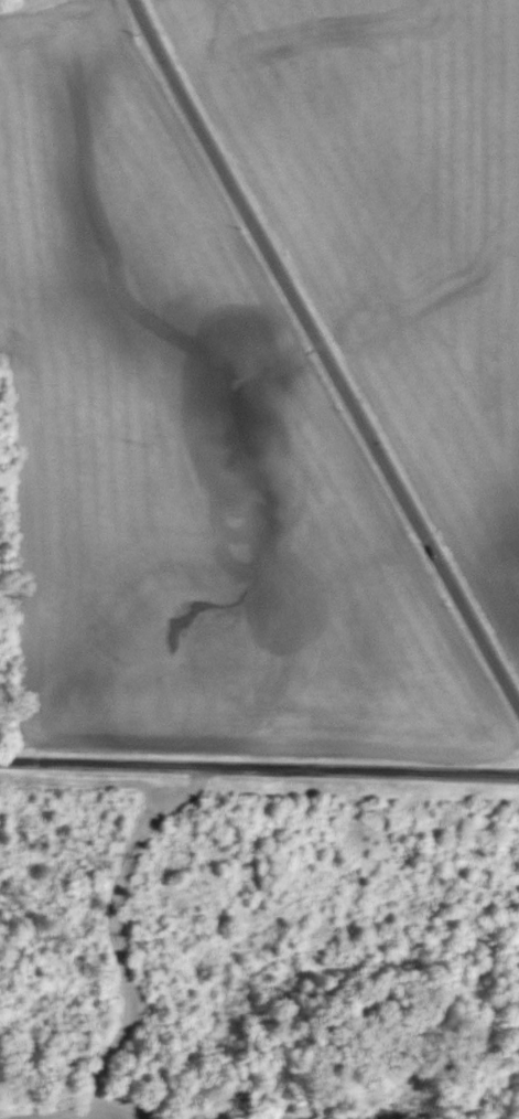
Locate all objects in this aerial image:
road: (322, 359)
road: (259, 769)

